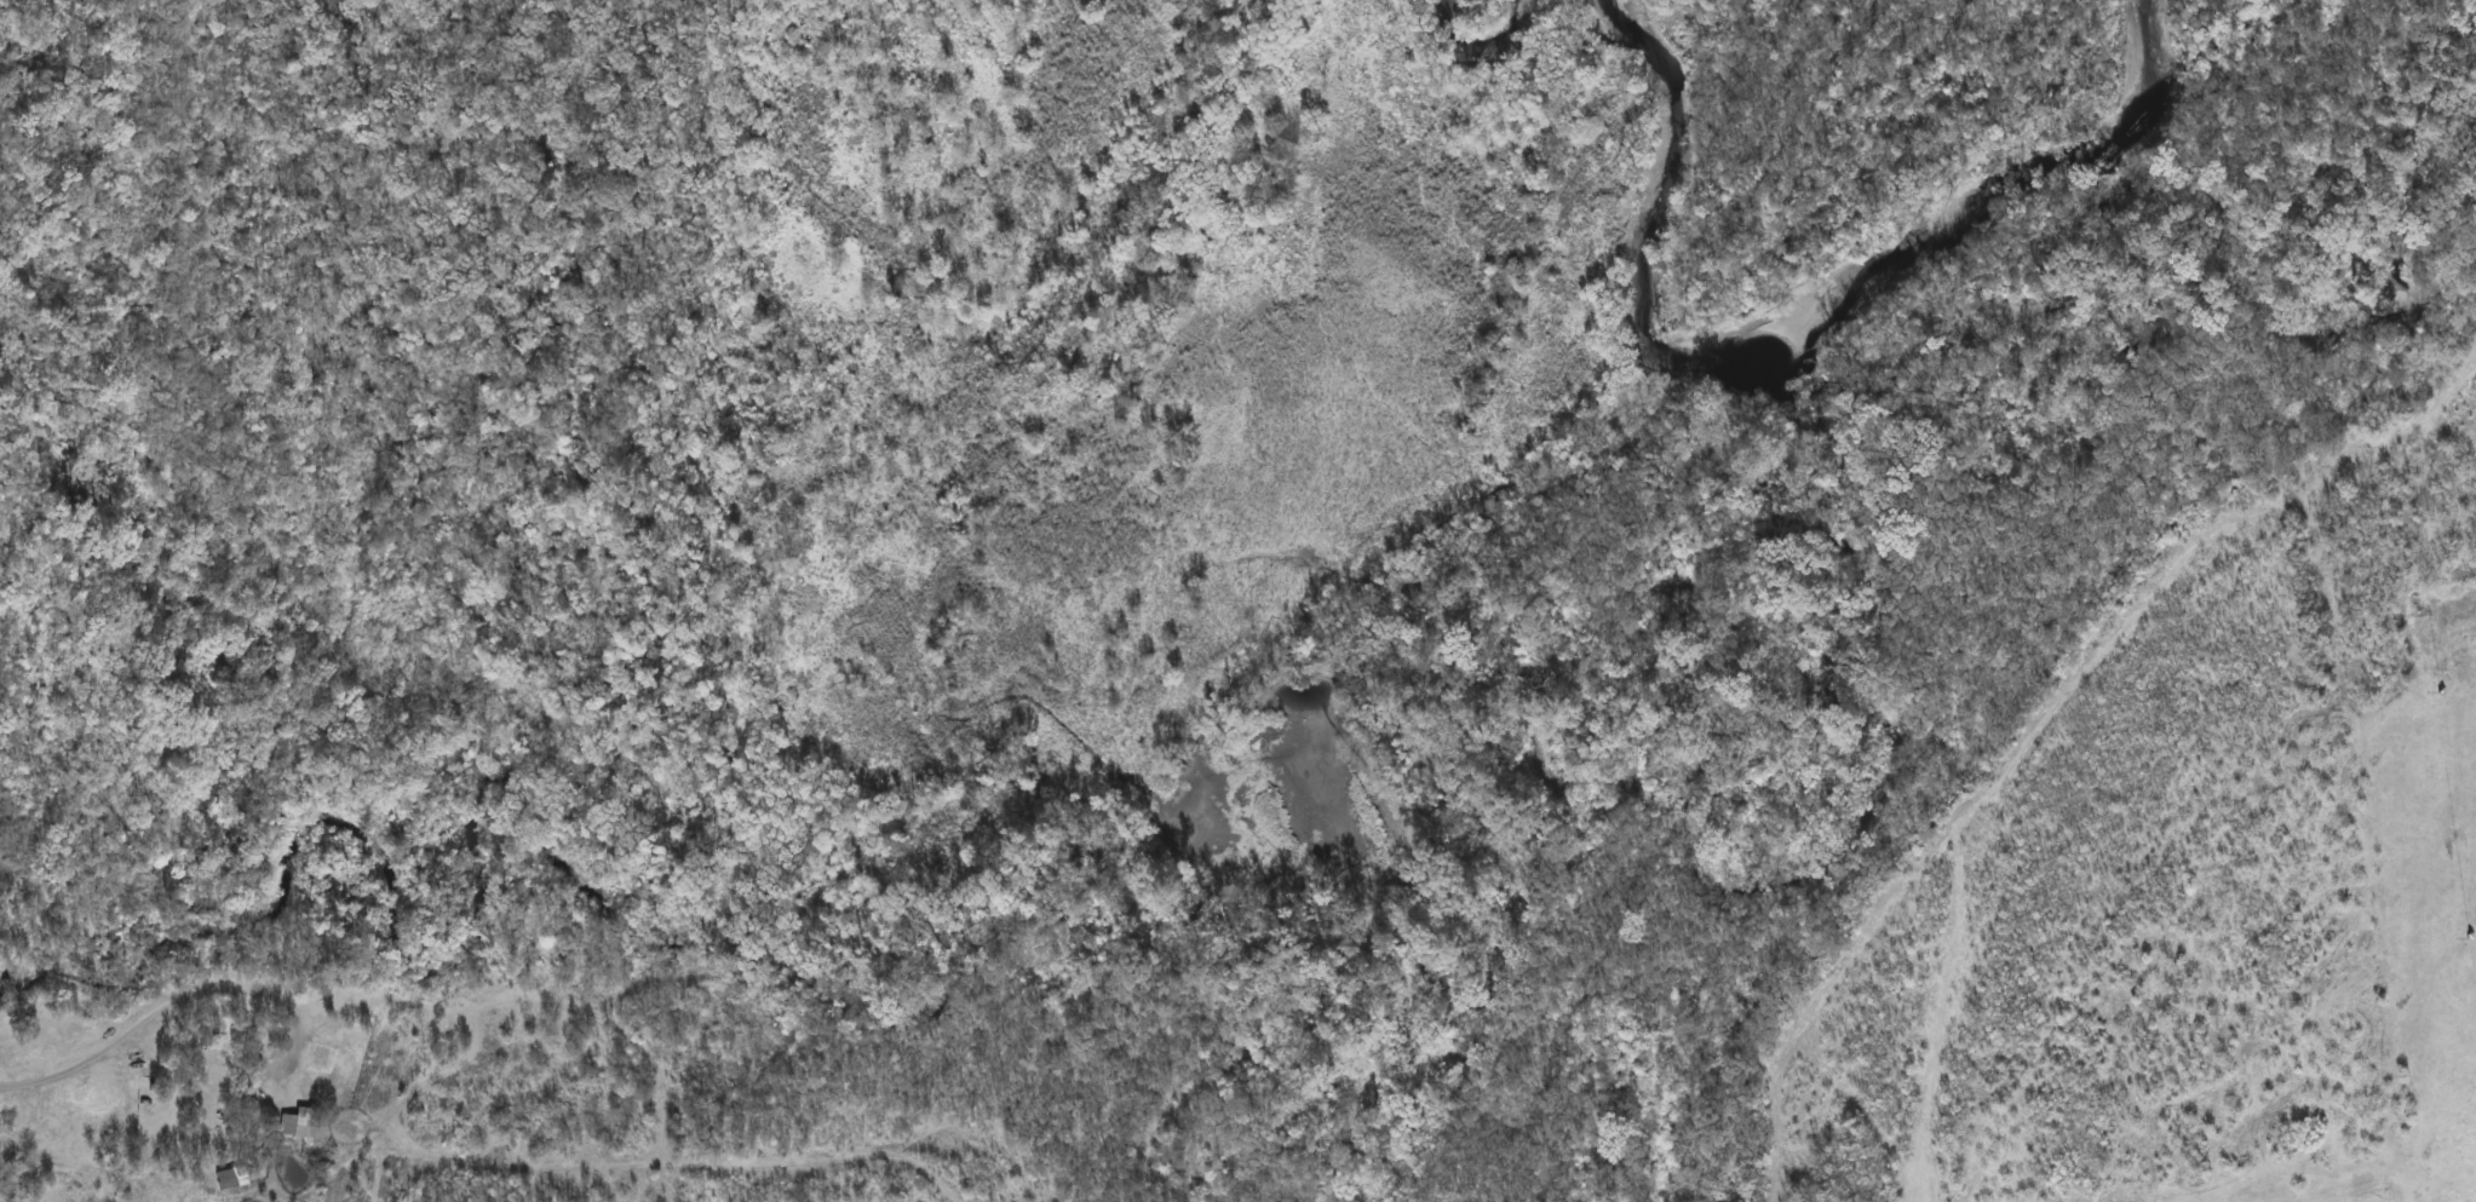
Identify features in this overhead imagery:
road: (191, 982)
building: (303, 1126)
building: (235, 1179)

